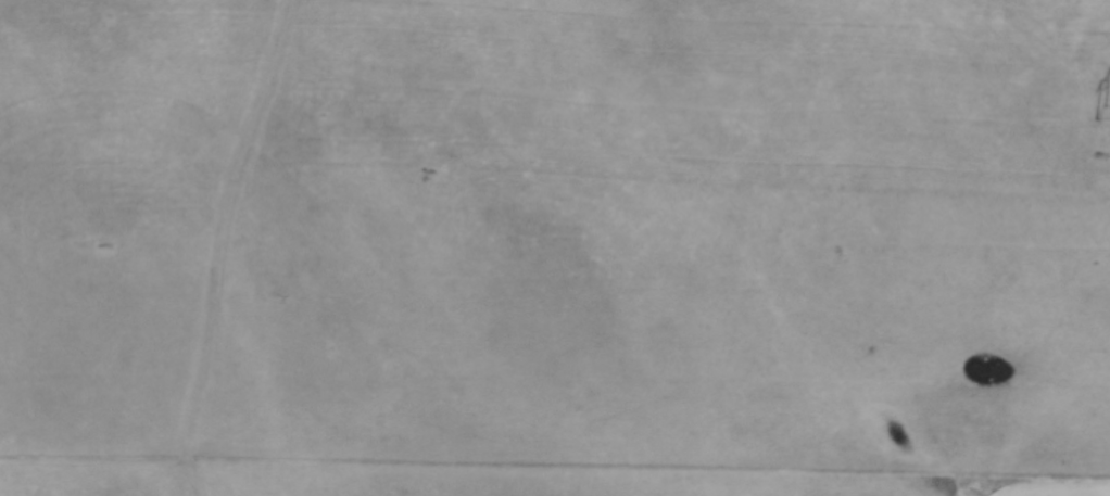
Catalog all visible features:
power tower: (1099, 112)

